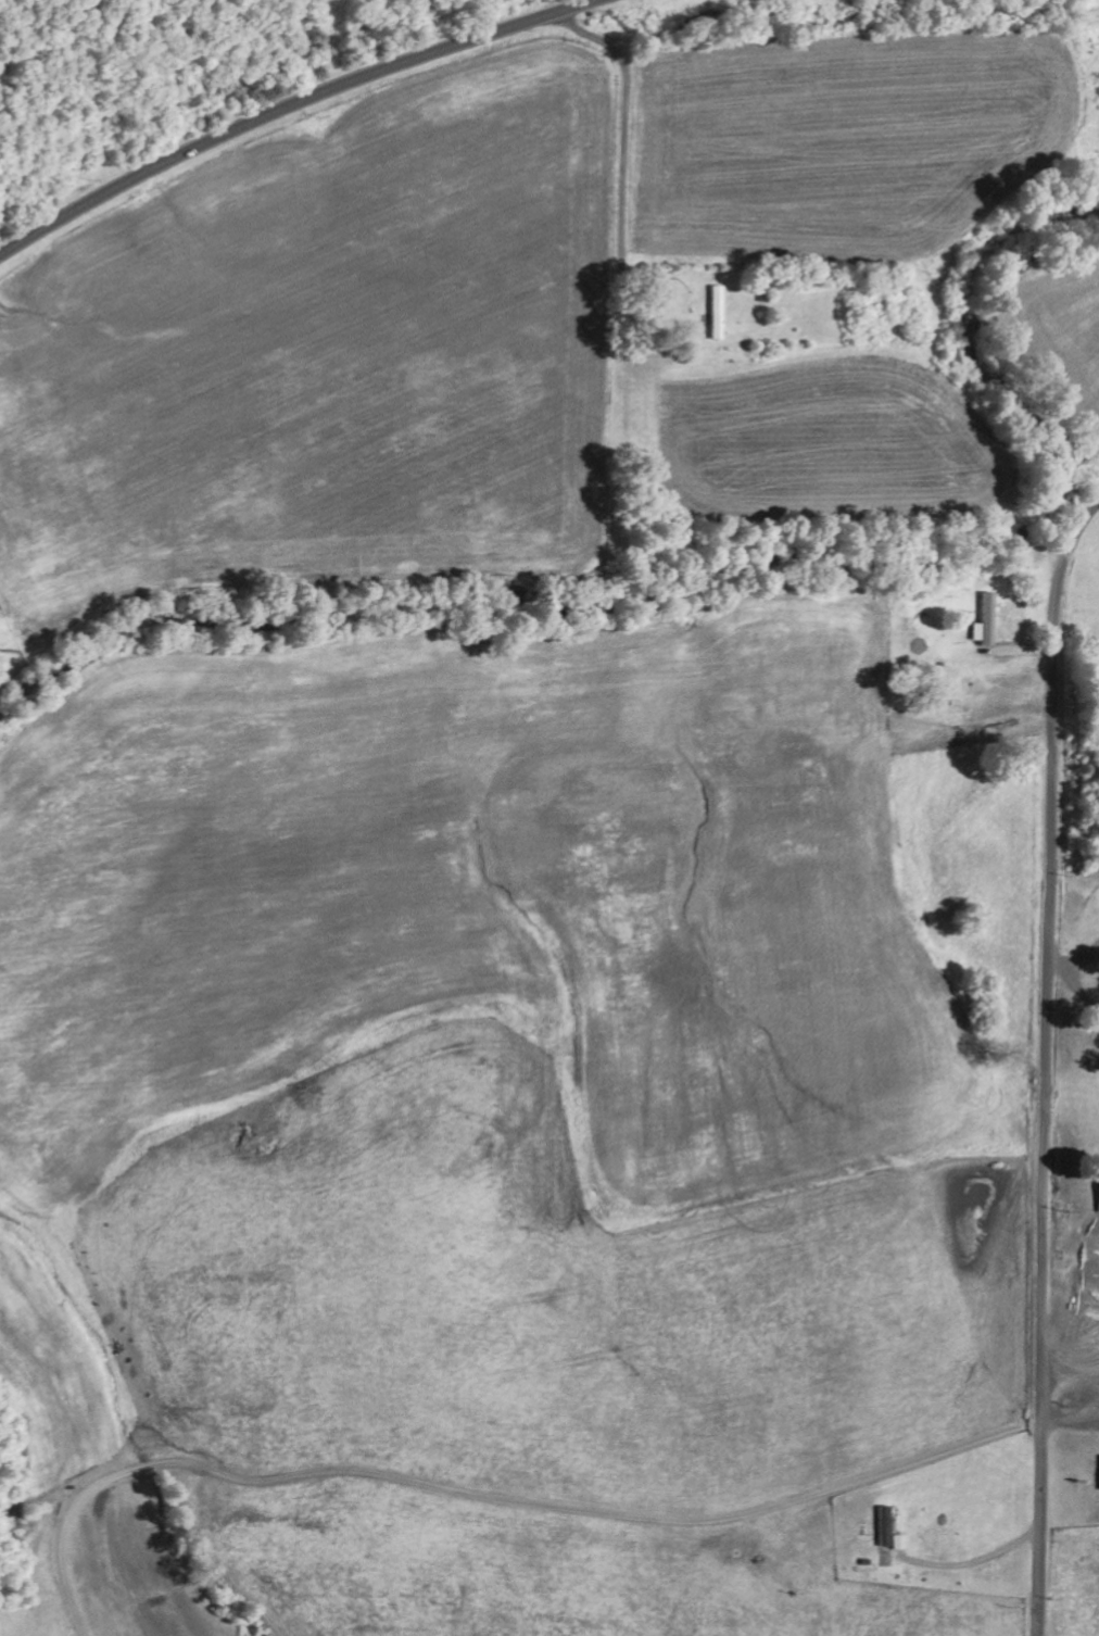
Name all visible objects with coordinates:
road: (281, 106)
road: (623, 131)
building: (984, 620)
road: (1046, 1064)
building: (884, 1525)
building: (899, 1541)

